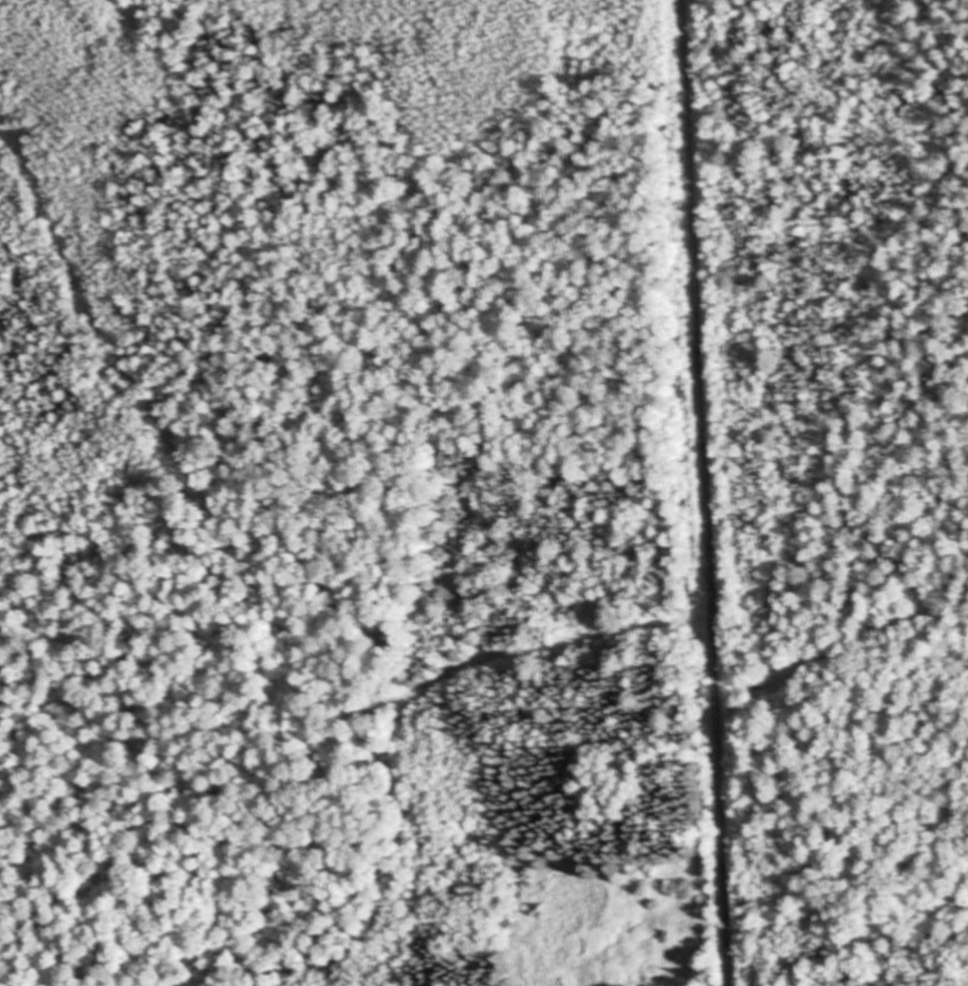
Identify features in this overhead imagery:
road: (705, 493)

